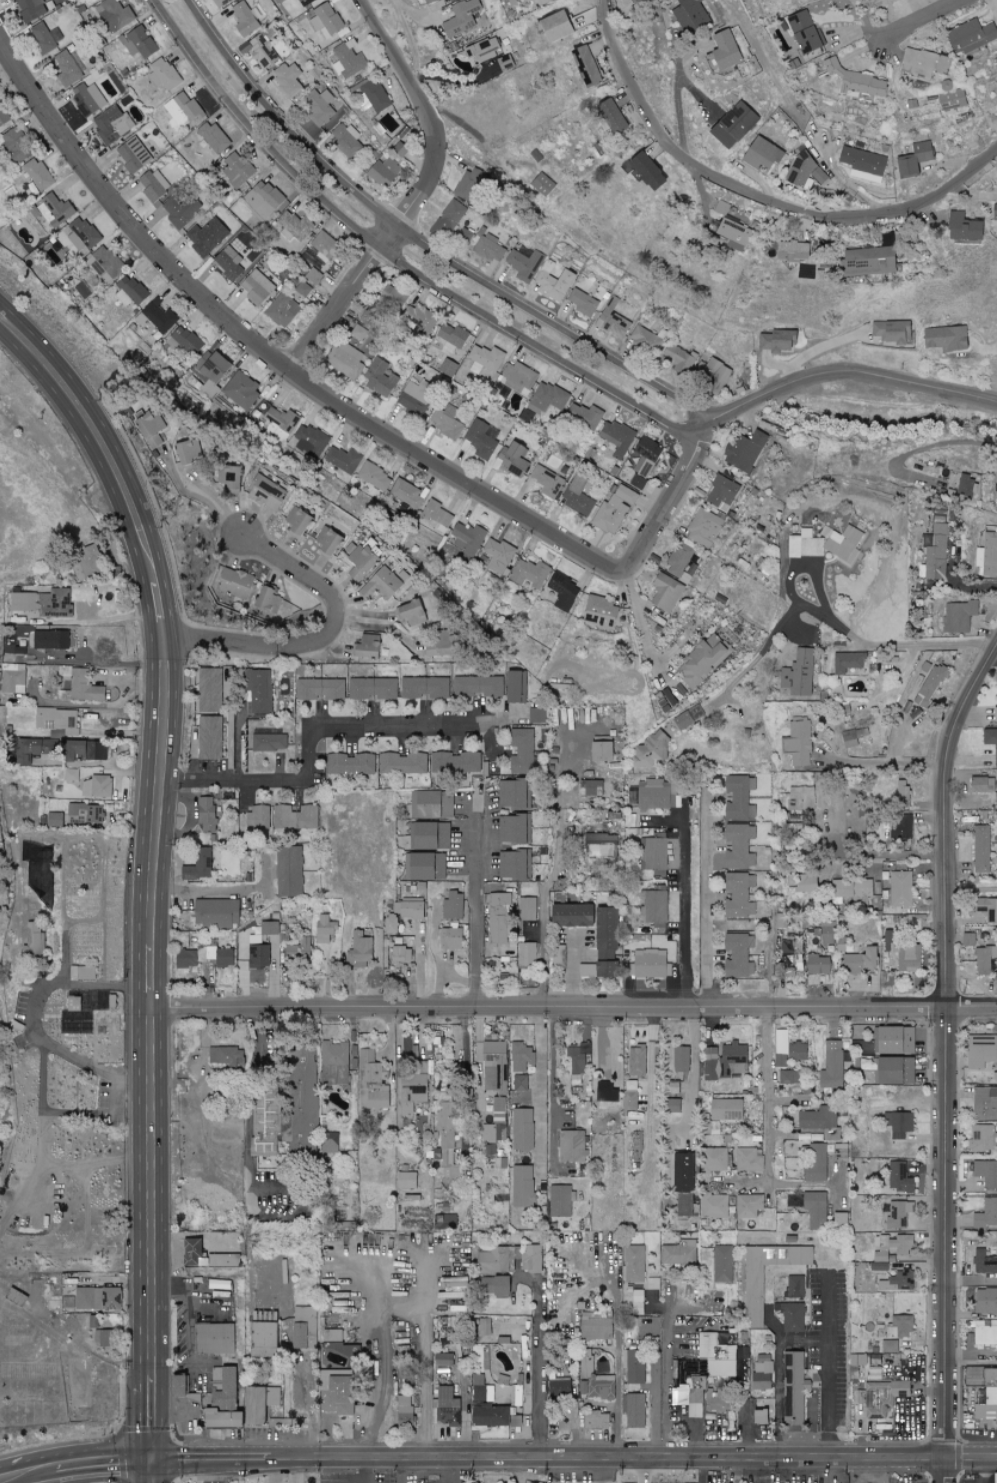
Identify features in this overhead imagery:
building: (865, 0)
building: (428, 1)
building: (636, 1)
building: (304, 2)
building: (543, 2)
building: (223, 3)
building: (31, 9)
building: (113, 15)
building: (691, 15)
building: (460, 18)
road: (916, 19)
building: (246, 20)
building: (325, 20)
building: (549, 26)
building: (801, 32)
building: (969, 36)
building: (45, 38)
building: (140, 43)
road: (412, 44)
building: (124, 48)
building: (481, 49)
building: (722, 50)
building: (263, 51)
road: (764, 60)
building: (505, 63)
building: (923, 63)
building: (347, 64)
building: (580, 66)
building: (68, 67)
building: (164, 74)
building: (287, 80)
building: (854, 80)
building: (376, 97)
building: (87, 98)
building: (950, 99)
building: (319, 107)
building: (182, 110)
building: (609, 116)
building: (1, 121)
building: (111, 126)
building: (731, 126)
building: (213, 137)
building: (345, 140)
building: (758, 153)
building: (132, 155)
building: (912, 160)
building: (863, 164)
building: (237, 170)
building: (644, 171)
building: (383, 172)
building: (805, 173)
building: (38, 175)
building: (472, 177)
building: (153, 184)
building: (540, 185)
road: (415, 196)
road: (757, 196)
building: (262, 199)
building: (721, 208)
building: (58, 209)
building: (180, 210)
building: (995, 210)
building: (451, 216)
building: (295, 226)
building: (959, 229)
building: (735, 234)
building: (81, 235)
building: (465, 236)
building: (206, 237)
road: (418, 240)
building: (322, 246)
building: (488, 249)
building: (789, 251)
road: (394, 254)
building: (869, 261)
building: (228, 263)
building: (106, 264)
building: (524, 265)
building: (313, 276)
building: (554, 285)
building: (258, 286)
building: (83, 289)
building: (302, 289)
building: (130, 292)
building: (392, 298)
building: (583, 303)
building: (282, 311)
building: (612, 319)
building: (156, 320)
building: (421, 320)
building: (892, 332)
building: (451, 335)
building: (944, 338)
building: (647, 340)
building: (183, 341)
building: (777, 341)
road: (986, 343)
building: (445, 347)
road: (821, 351)
building: (486, 357)
building: (680, 359)
building: (343, 360)
road: (273, 361)
building: (211, 368)
building: (447, 368)
building: (714, 373)
road: (842, 374)
building: (519, 378)
building: (378, 379)
building: (240, 390)
building: (417, 398)
building: (547, 398)
power tower: (106, 400)
building: (585, 416)
building: (282, 419)
building: (445, 423)
building: (153, 432)
road: (97, 439)
building: (481, 439)
building: (614, 439)
building: (310, 441)
road: (922, 447)
building: (744, 452)
building: (643, 456)
building: (511, 458)
building: (344, 460)
building: (228, 477)
building: (375, 477)
building: (546, 482)
building: (636, 485)
building: (996, 488)
building: (969, 491)
building: (722, 492)
building: (408, 493)
road: (669, 495)
road: (200, 497)
building: (576, 499)
building: (612, 510)
building: (436, 513)
building: (297, 523)
building: (705, 528)
building: (468, 538)
building: (327, 543)
building: (823, 544)
building: (936, 553)
building: (498, 556)
building: (988, 556)
building: (89, 563)
building: (358, 563)
building: (682, 564)
building: (531, 573)
building: (233, 582)
building: (380, 584)
building: (563, 592)
building: (665, 593)
building: (43, 602)
building: (268, 602)
road: (156, 612)
building: (599, 612)
building: (410, 615)
road: (642, 616)
building: (958, 616)
road: (320, 639)
building: (50, 640)
road: (883, 644)
building: (365, 647)
road: (758, 649)
building: (20, 650)
building: (702, 660)
building: (843, 663)
building: (798, 674)
building: (13, 678)
building: (81, 685)
building: (467, 686)
building: (931, 686)
building: (502, 687)
building: (360, 688)
building: (412, 688)
building: (438, 688)
building: (320, 689)
building: (385, 689)
building: (211, 690)
building: (61, 691)
building: (259, 692)
building: (994, 715)
building: (536, 716)
building: (686, 718)
building: (58, 722)
road: (326, 725)
building: (862, 733)
building: (209, 738)
building: (268, 740)
building: (849, 740)
building: (990, 741)
building: (799, 742)
building: (64, 750)
building: (521, 751)
building: (651, 751)
building: (598, 752)
building: (95, 753)
road: (884, 762)
building: (457, 763)
building: (351, 764)
building: (404, 764)
building: (71, 775)
building: (95, 784)
building: (589, 788)
building: (983, 789)
building: (901, 793)
road: (158, 794)
building: (510, 795)
building: (652, 795)
building: (740, 797)
building: (802, 798)
building: (432, 805)
building: (87, 813)
building: (258, 817)
building: (296, 817)
building: (55, 820)
building: (900, 828)
building: (510, 830)
building: (429, 836)
building: (602, 847)
building: (741, 847)
building: (980, 850)
road: (876, 851)
building: (653, 855)
building: (199, 865)
building: (510, 865)
building: (425, 867)
road: (555, 870)
building: (288, 872)
building: (805, 882)
road: (210, 888)
road: (480, 888)
building: (850, 889)
building: (901, 889)
road: (971, 892)
building: (740, 896)
building: (499, 903)
building: (452, 907)
building: (407, 908)
building: (527, 909)
building: (986, 909)
building: (654, 911)
road: (691, 913)
building: (215, 914)
building: (903, 923)
building: (391, 924)
building: (588, 926)
building: (269, 928)
building: (324, 929)
building: (500, 932)
building: (829, 933)
building: (451, 939)
building: (967, 940)
building: (33, 942)
building: (300, 949)
building: (359, 951)
building: (401, 954)
building: (526, 954)
building: (216, 955)
building: (738, 955)
building: (257, 956)
building: (558, 956)
building: (793, 957)
building: (185, 959)
building: (908, 960)
building: (857, 962)
building: (982, 962)
building: (651, 964)
road: (574, 965)
building: (818, 965)
building: (593, 970)
building: (780, 970)
building: (82, 973)
road: (151, 975)
road: (574, 1002)
road: (33, 1018)
building: (72, 1018)
building: (892, 1039)
road: (945, 1046)
building: (791, 1049)
building: (978, 1051)
building: (225, 1056)
building: (521, 1057)
building: (580, 1059)
building: (679, 1059)
road: (480, 1061)
building: (726, 1061)
building: (636, 1062)
building: (332, 1064)
building: (832, 1065)
building: (494, 1066)
building: (892, 1070)
road: (466, 1076)
building: (791, 1079)
building: (370, 1081)
building: (520, 1082)
building: (631, 1085)
road: (540, 1087)
road: (552, 1087)
building: (671, 1087)
road: (767, 1092)
building: (410, 1093)
road: (691, 1096)
building: (606, 1098)
building: (630, 1101)
building: (984, 1103)
building: (672, 1106)
building: (498, 1109)
building: (725, 1109)
road: (65, 1112)
building: (818, 1118)
building: (897, 1125)
building: (712, 1128)
building: (522, 1129)
building: (448, 1133)
building: (493, 1138)
road: (42, 1139)
building: (982, 1139)
building: (301, 1140)
building: (329, 1142)
road: (152, 1145)
building: (572, 1146)
building: (714, 1160)
building: (749, 1160)
road: (59, 1164)
road: (251, 1164)
building: (816, 1164)
building: (679, 1172)
building: (986, 1173)
building: (896, 1176)
building: (407, 1180)
road: (815, 1183)
building: (522, 1186)
building: (560, 1200)
building: (792, 1200)
building: (682, 1205)
building: (714, 1206)
building: (748, 1206)
building: (814, 1210)
building: (986, 1213)
building: (896, 1214)
building: (838, 1219)
building: (445, 1222)
building: (892, 1247)
road: (84, 1248)
building: (679, 1253)
building: (204, 1256)
building: (528, 1258)
building: (496, 1259)
building: (985, 1262)
building: (634, 1263)
building: (723, 1264)
building: (878, 1266)
building: (281, 1271)
building: (68, 1279)
building: (896, 1282)
building: (219, 1284)
building: (496, 1286)
building: (794, 1286)
building: (753, 1296)
building: (93, 1299)
building: (718, 1300)
road: (3, 1301)
building: (986, 1301)
road: (402, 1302)
building: (637, 1302)
road: (191, 1313)
building: (790, 1316)
building: (308, 1317)
building: (901, 1325)
building: (597, 1327)
road: (153, 1331)
building: (984, 1334)
building: (299, 1335)
building: (333, 1335)
building: (212, 1338)
building: (264, 1338)
building: (889, 1346)
building: (351, 1351)
building: (718, 1353)
building: (443, 1360)
road: (828, 1361)
road: (538, 1363)
building: (588, 1366)
building: (632, 1368)
road: (667, 1371)
building: (762, 1373)
road: (780, 1379)
building: (601, 1387)
building: (985, 1387)
building: (560, 1388)
building: (794, 1388)
building: (481, 1389)
building: (223, 1390)
building: (340, 1393)
building: (271, 1396)
building: (691, 1396)
road: (618, 1397)
building: (413, 1400)
building: (717, 1402)
building: (403, 1404)
building: (252, 1405)
building: (447, 1407)
building: (634, 1410)
building: (756, 1416)
road: (153, 1417)
building: (216, 1418)
building: (595, 1420)
road: (634, 1455)
road: (241, 1458)
traffic signals: (153, 1459)
road: (181, 1459)
road: (76, 1466)
road: (827, 1468)
road: (945, 1468)
road: (985, 1468)
road: (517, 1469)
road: (600, 1469)
road: (645, 1469)
road: (734, 1469)
road: (272, 1470)
road: (294, 1470)
road: (368, 1470)
road: (403, 1470)
road: (152, 1471)
road: (210, 1471)
building: (992, 1478)

